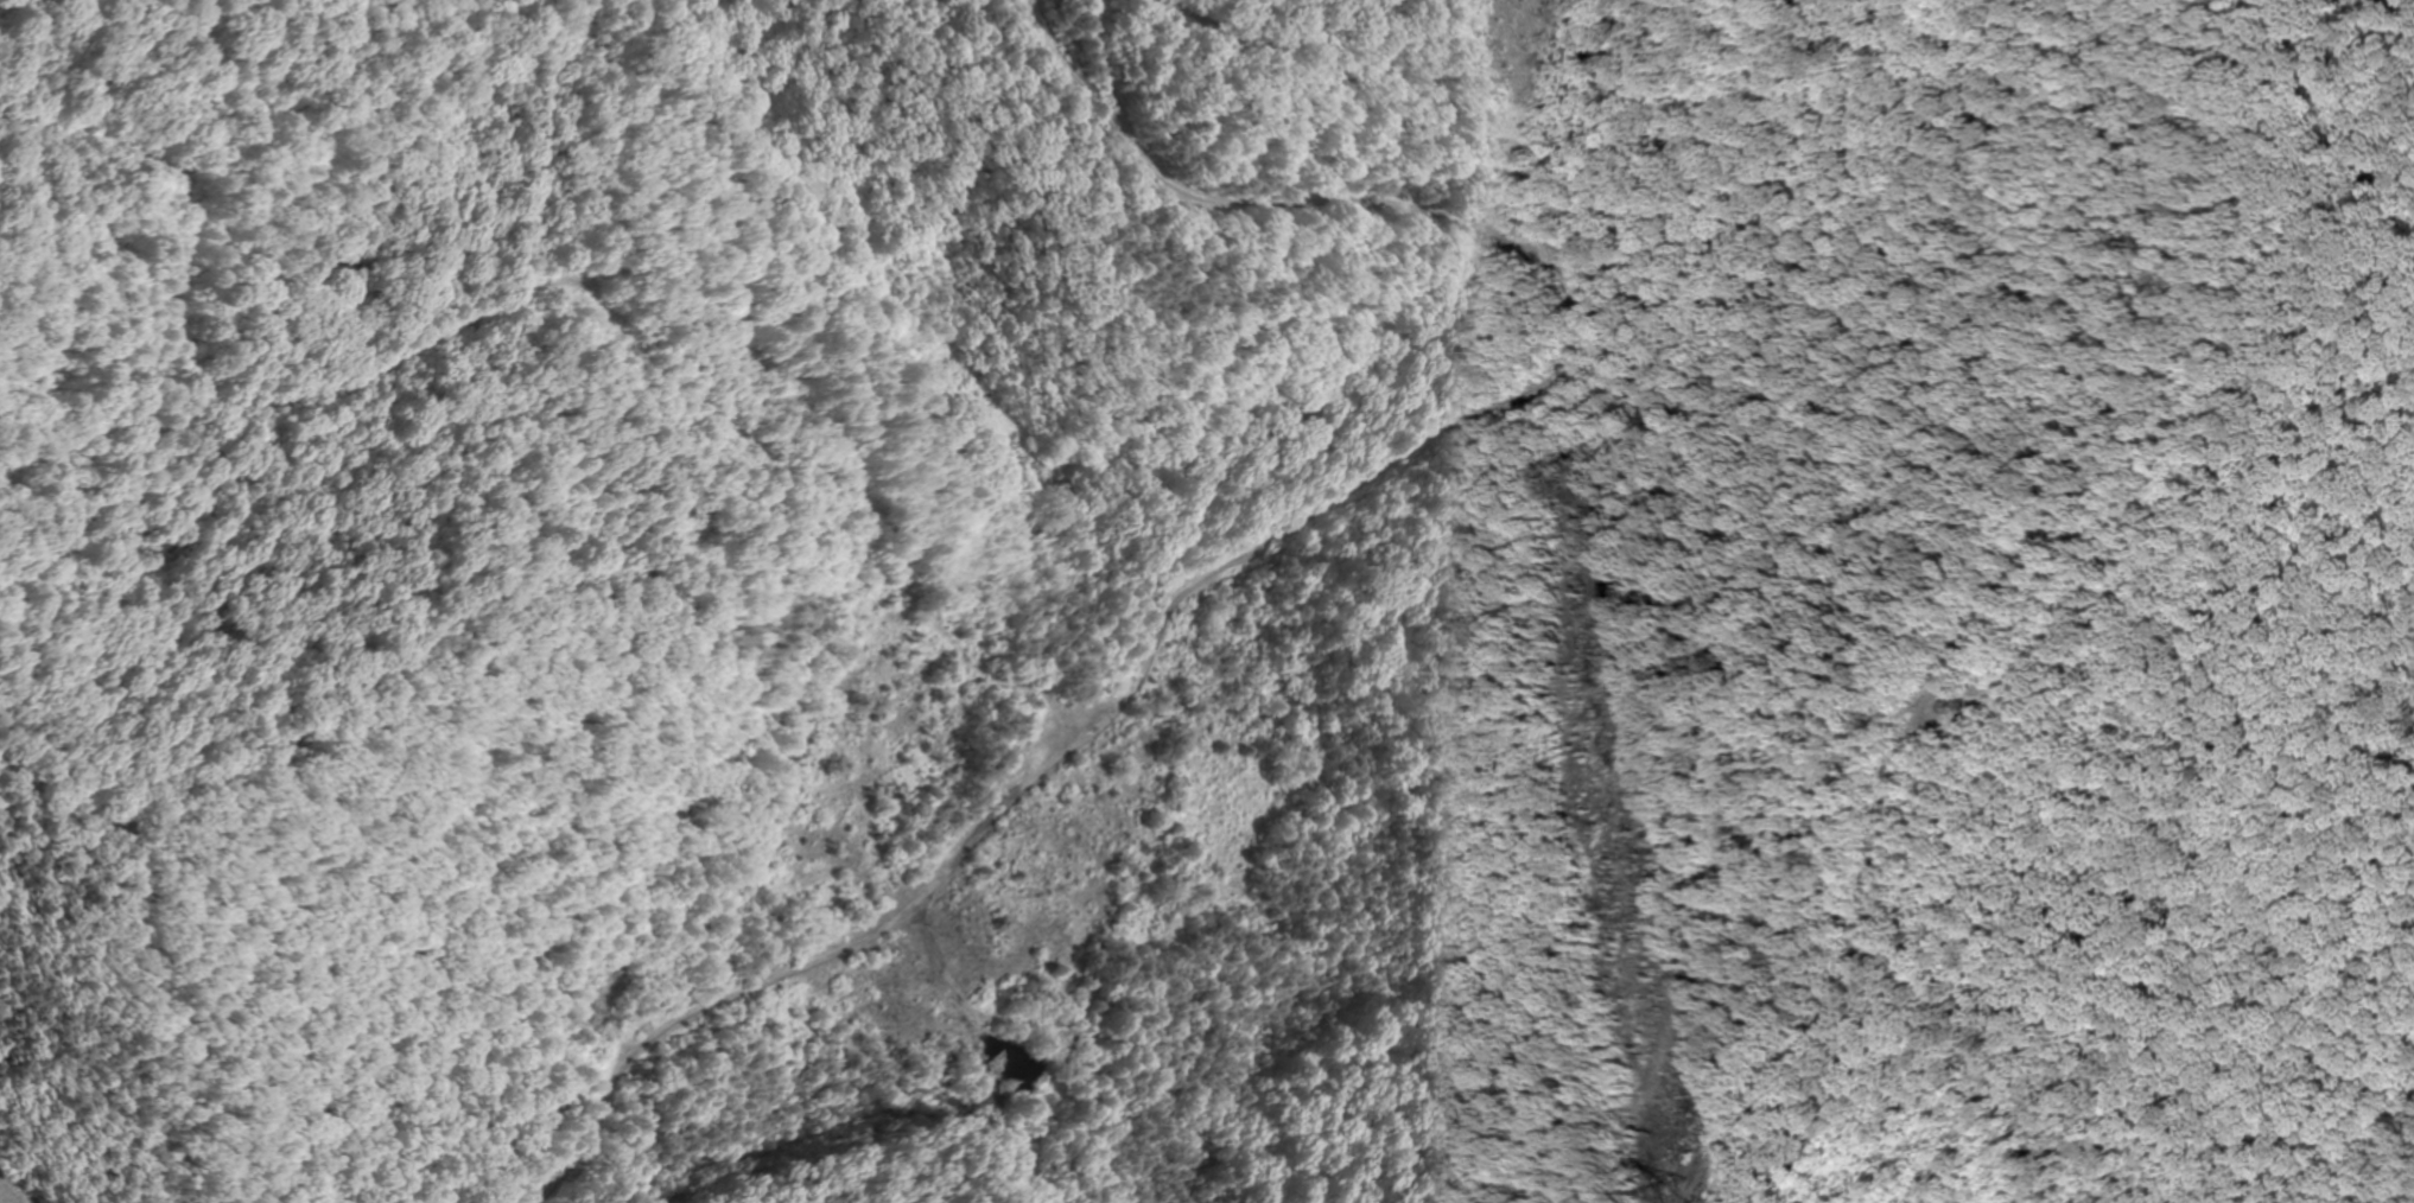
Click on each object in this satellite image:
building: (1957, 707)

